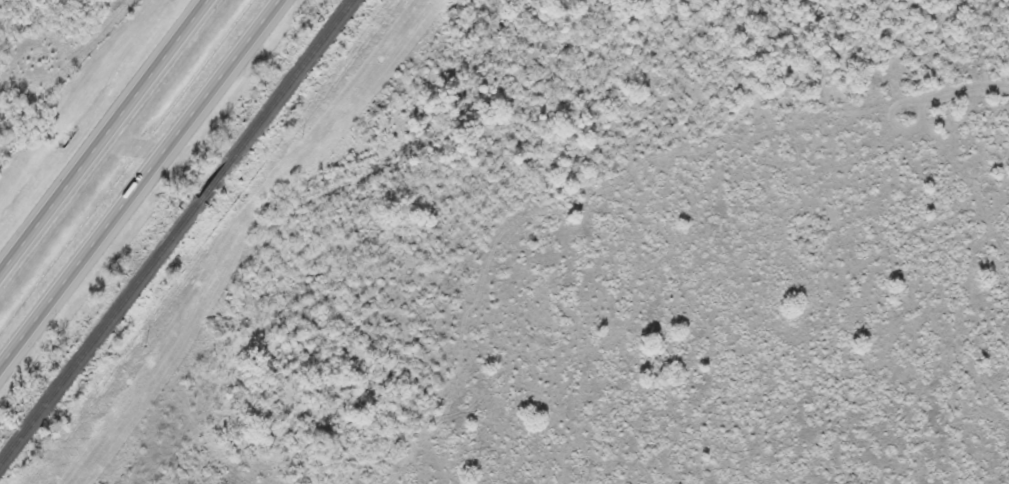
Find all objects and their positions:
road: (105, 140)
road: (144, 193)
railway: (175, 231)

